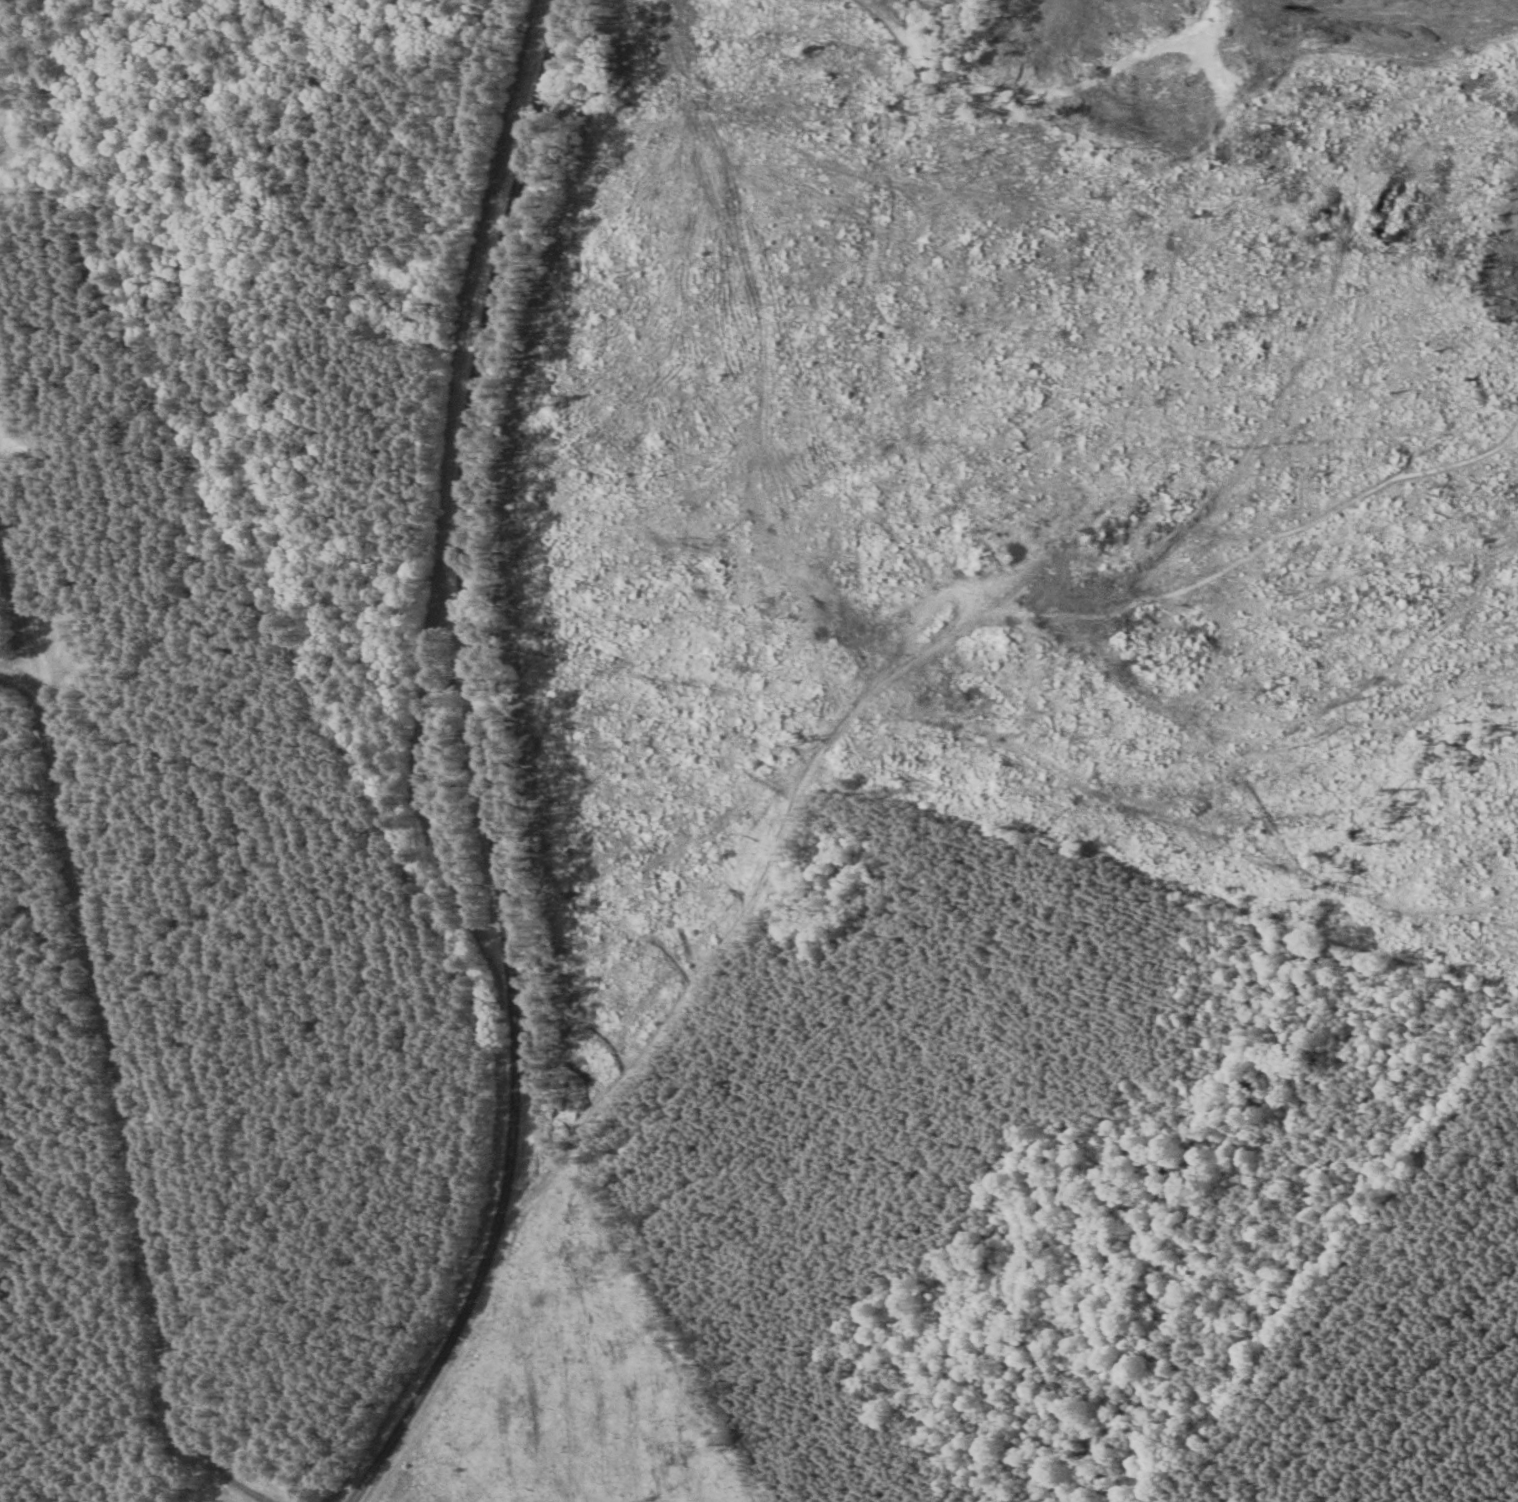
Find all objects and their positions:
road: (468, 384)
road: (515, 1161)

